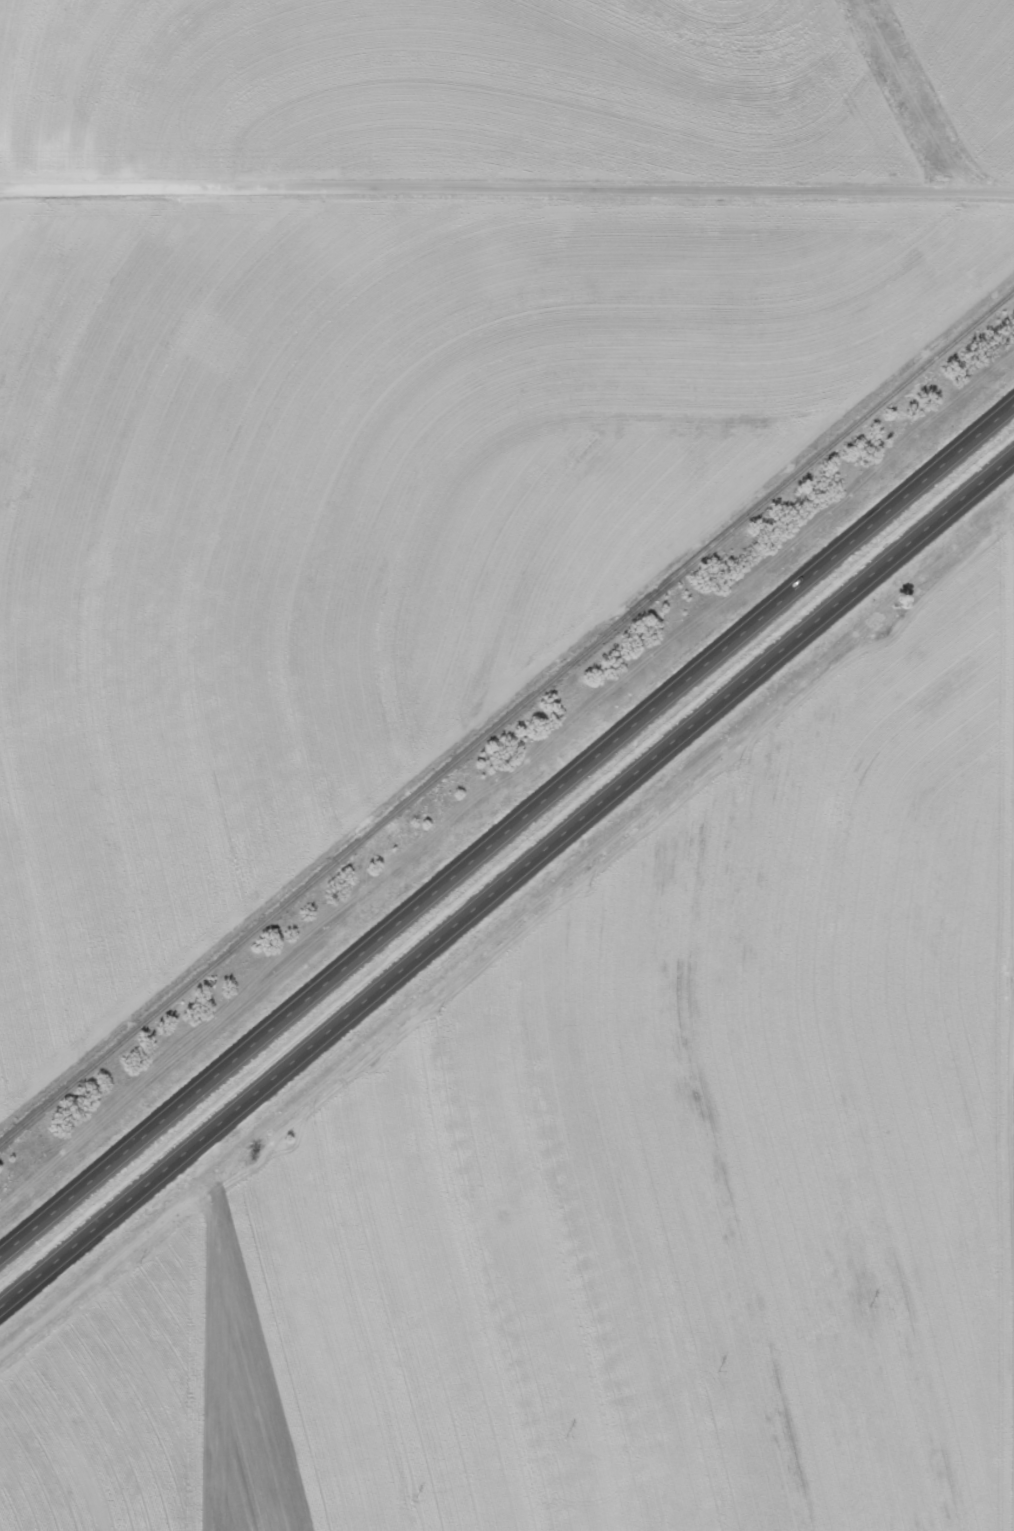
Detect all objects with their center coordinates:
road: (915, 91)
road: (507, 188)
railway: (507, 718)
road: (1011, 825)
road: (507, 832)
road: (507, 886)
road: (504, 927)

